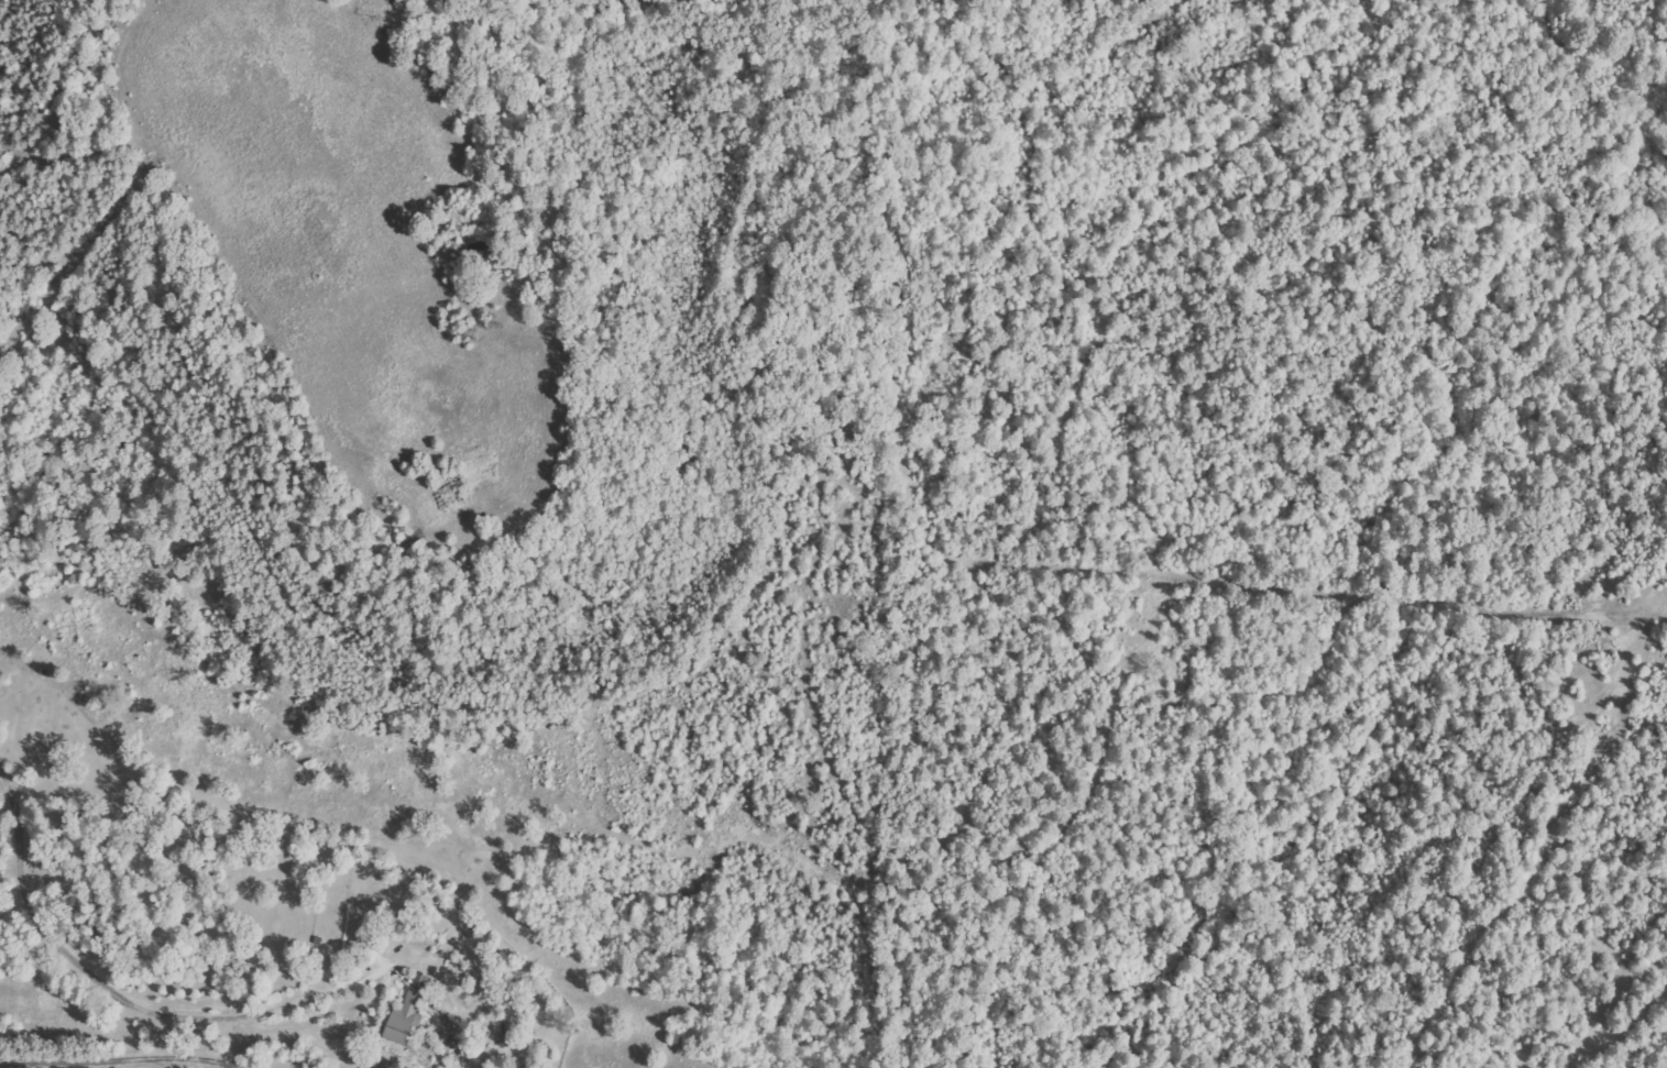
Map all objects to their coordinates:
road: (1568, 605)
building: (408, 1011)

